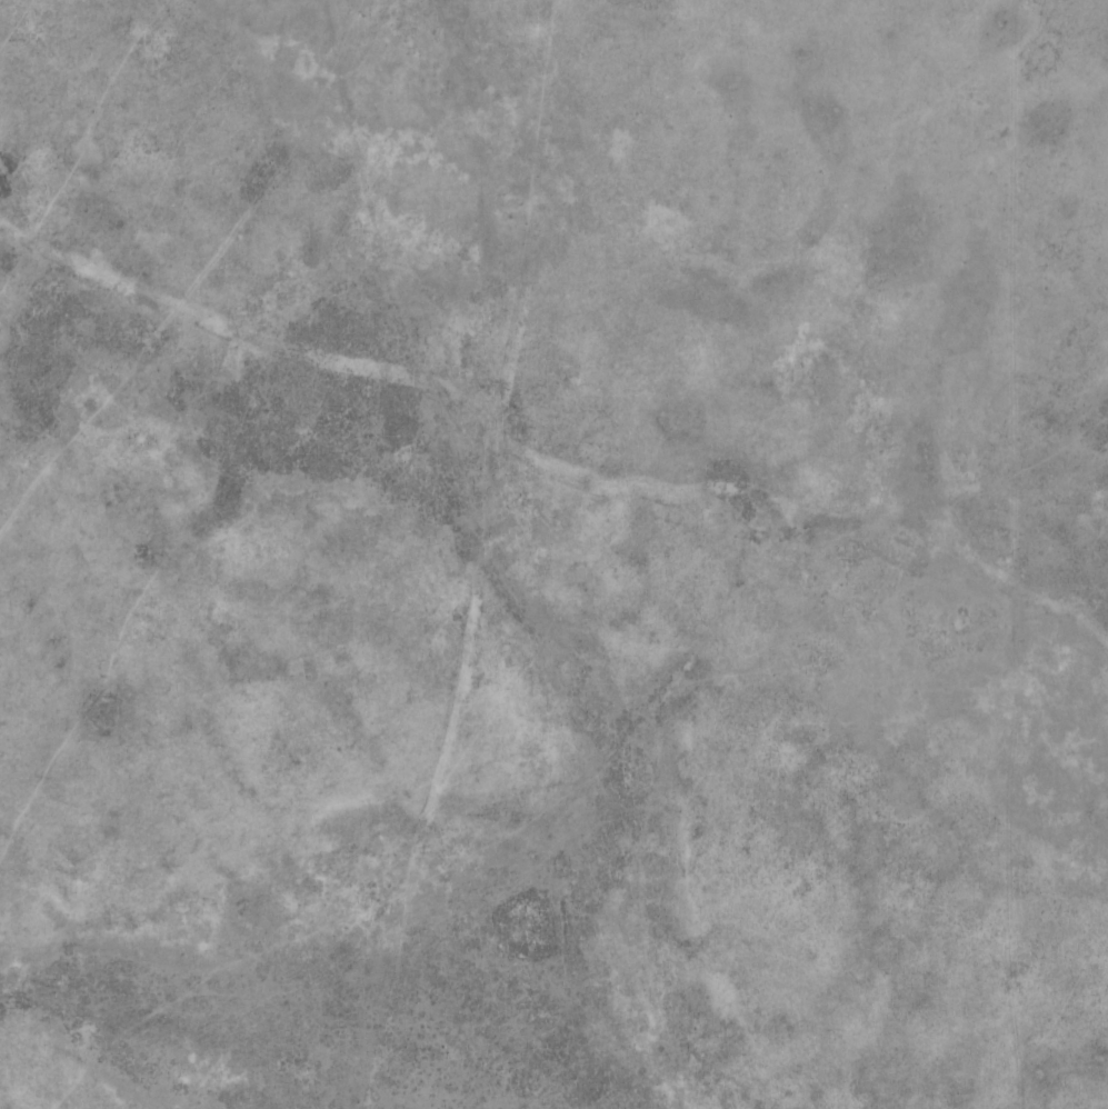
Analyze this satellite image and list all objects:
road: (1028, 554)

